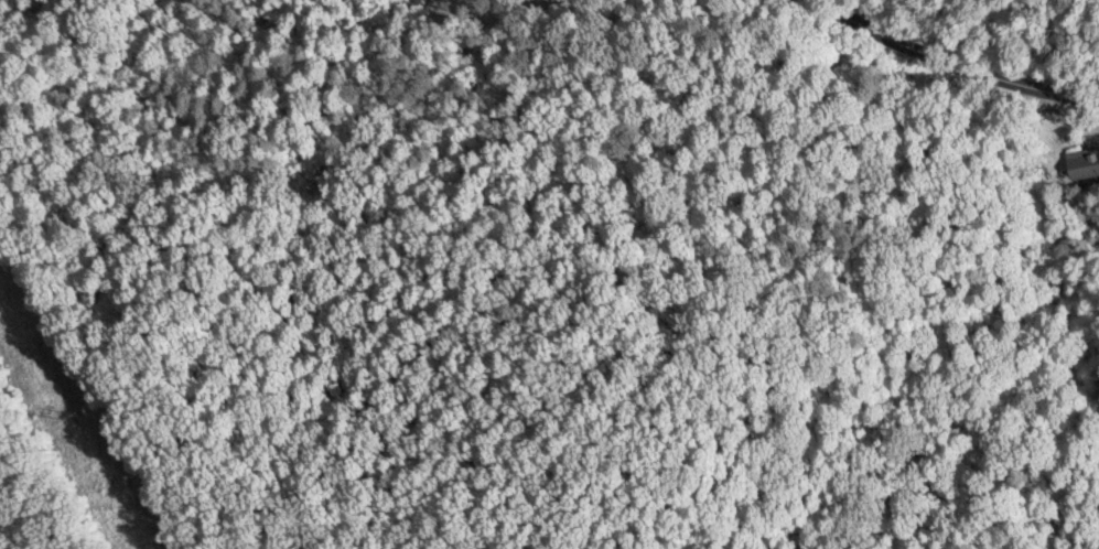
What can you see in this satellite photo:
road: (947, 66)
building: (1084, 163)

